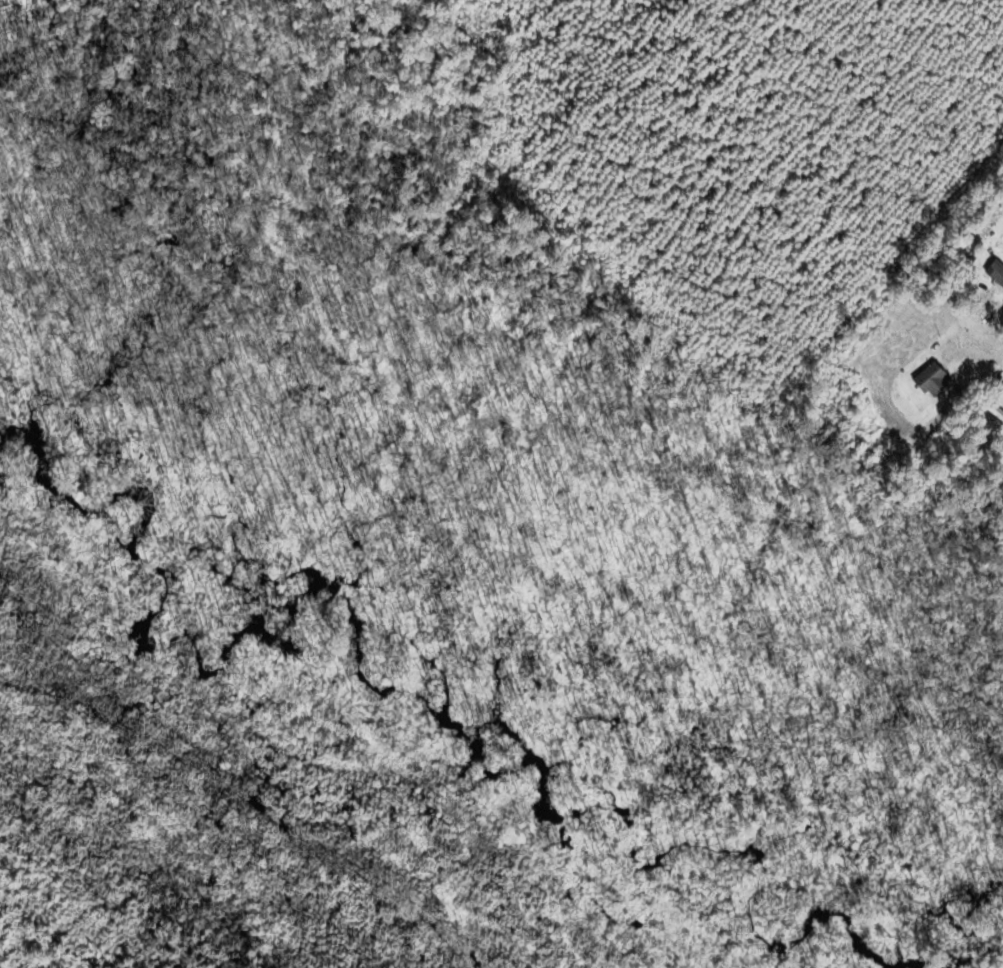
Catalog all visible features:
building: (994, 274)
building: (929, 380)

